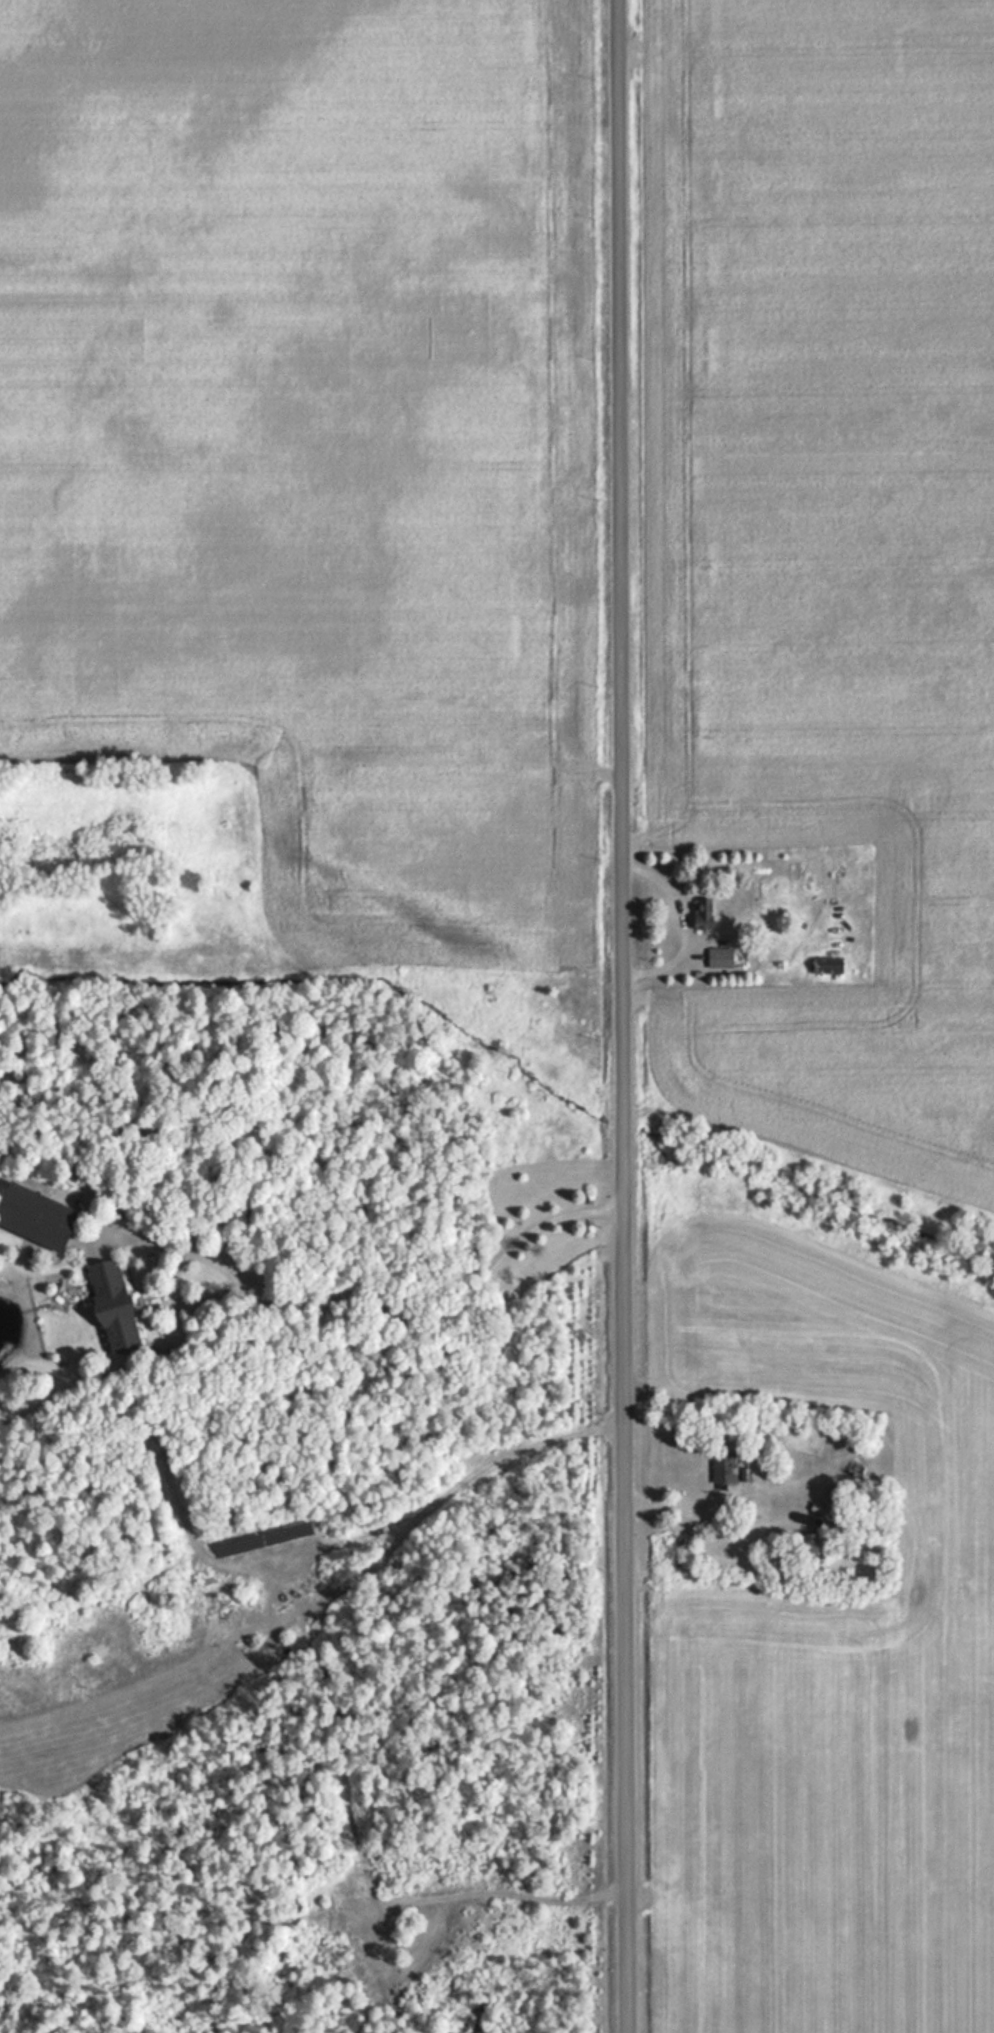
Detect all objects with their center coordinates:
building: (703, 914)
building: (720, 958)
building: (827, 966)
road: (621, 1016)
building: (36, 1216)
building: (114, 1307)
building: (723, 1468)
building: (828, 1516)
building: (809, 1546)

